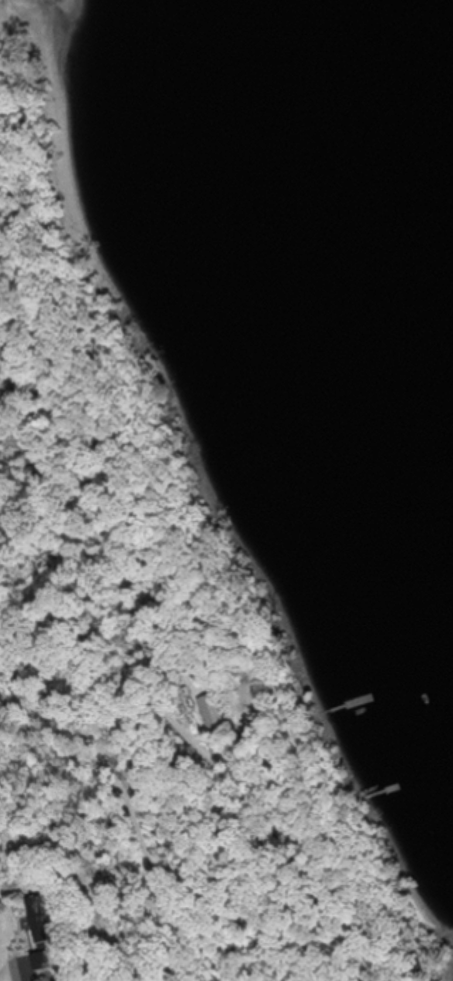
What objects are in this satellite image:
building: (214, 710)
road: (76, 727)
road: (15, 960)
building: (48, 961)

